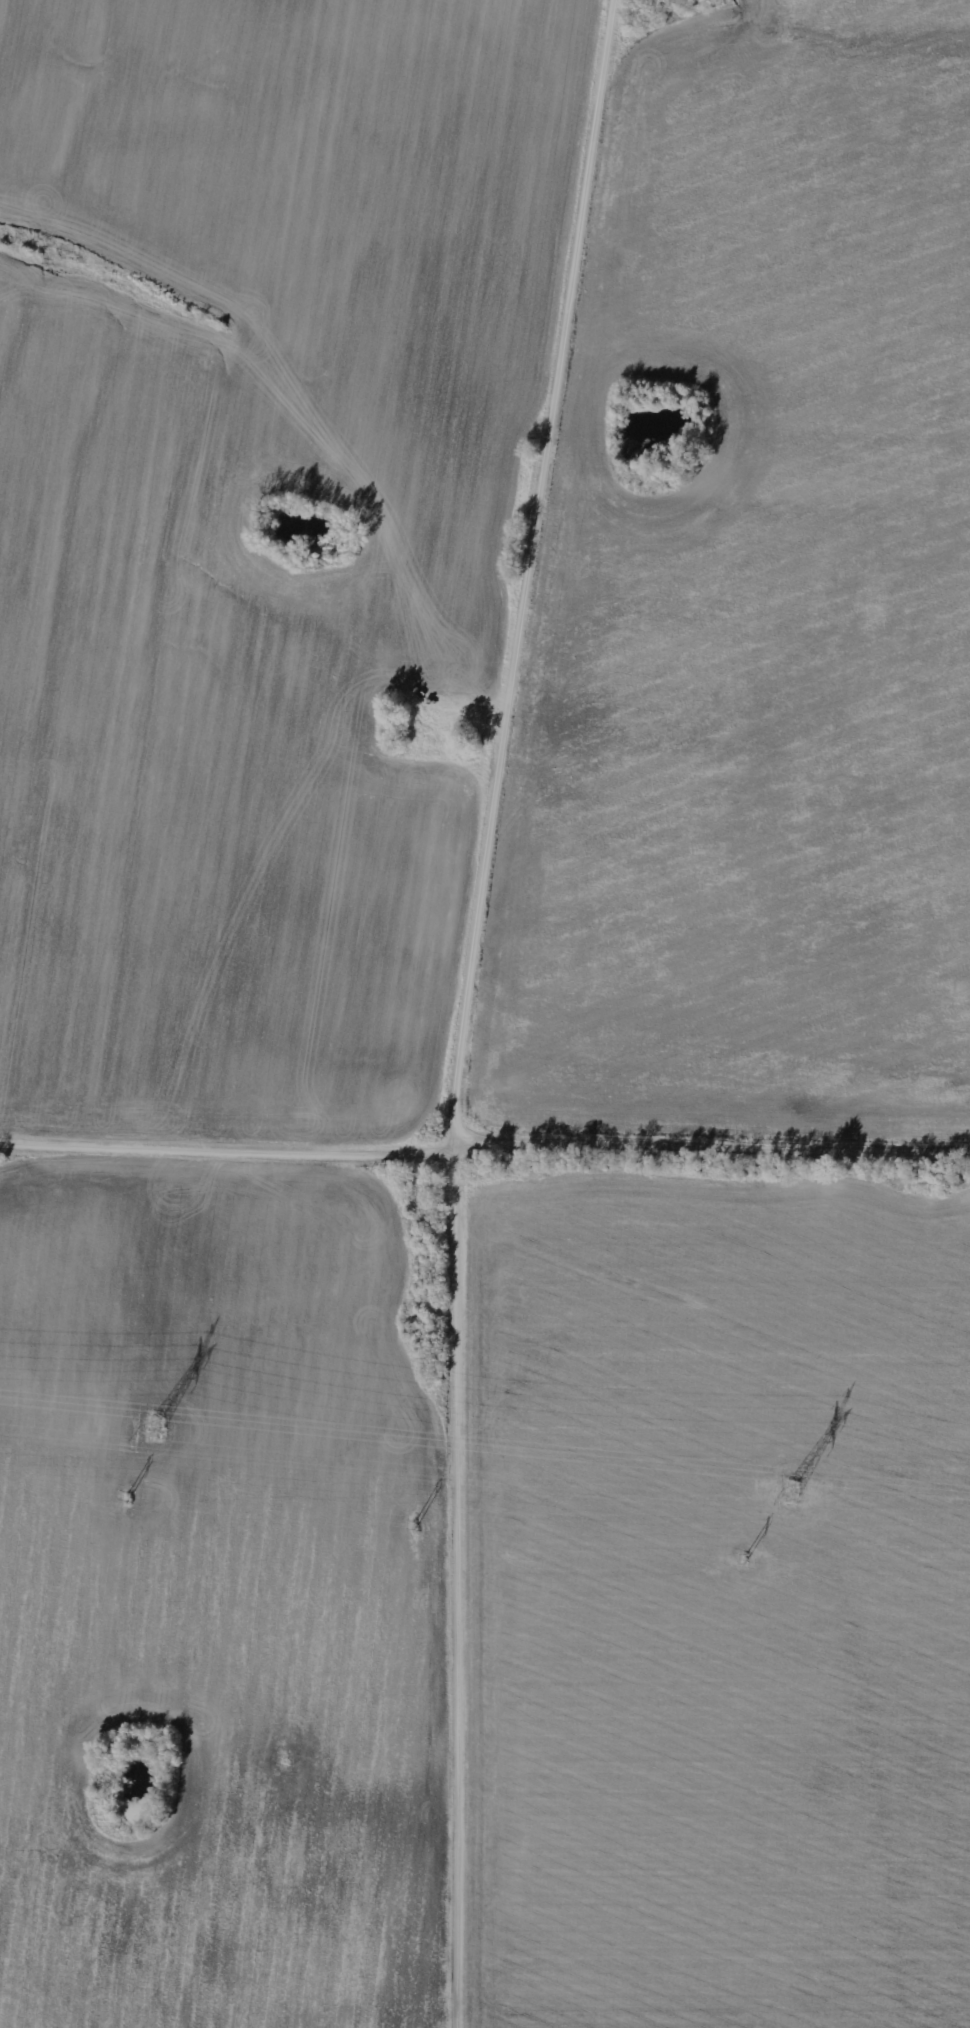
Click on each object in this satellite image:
road: (533, 573)
road: (484, 1144)
power tower: (153, 1430)
power tower: (793, 1493)
road: (464, 1587)

